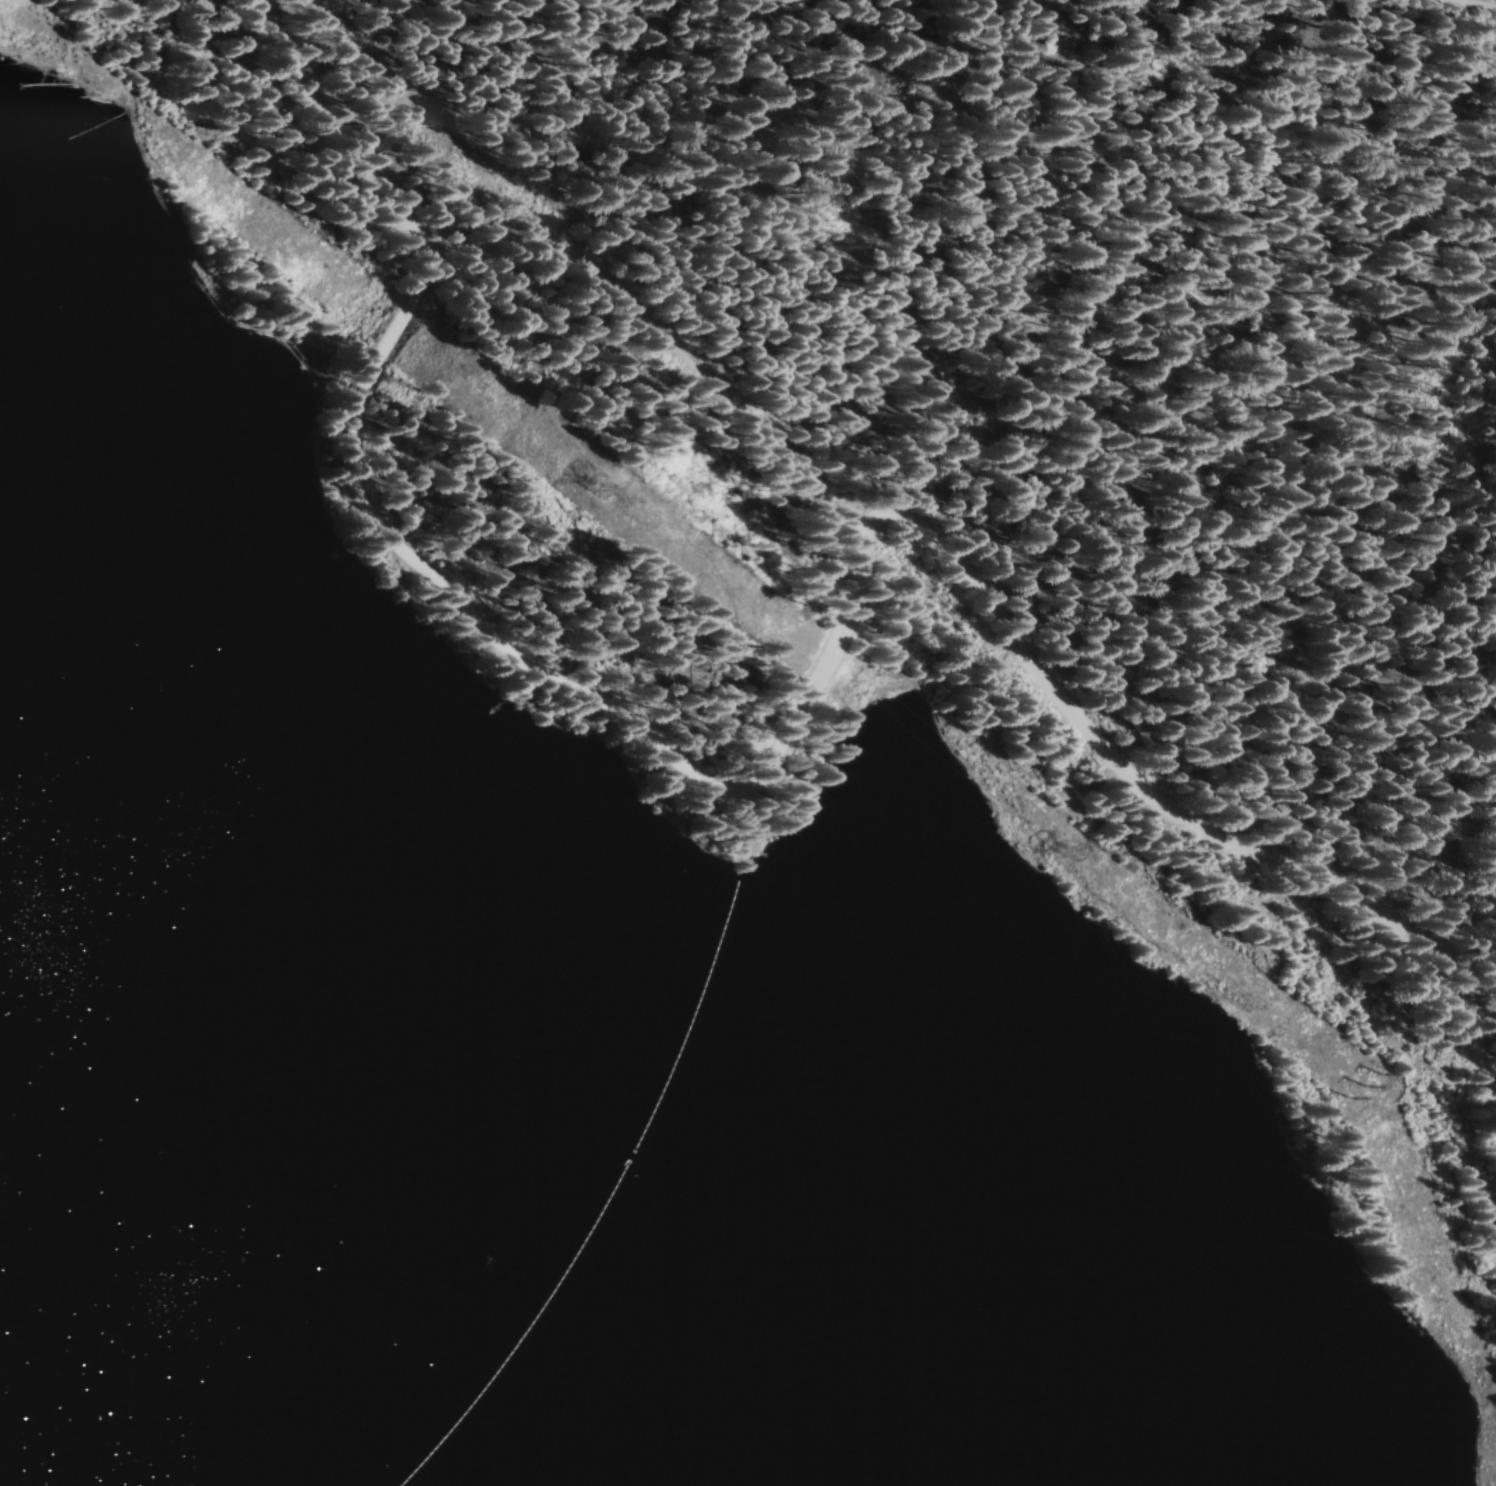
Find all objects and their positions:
road: (1455, 10)
power tower: (596, 486)
road: (785, 729)
power tower: (1063, 850)
power tower: (1365, 1087)

